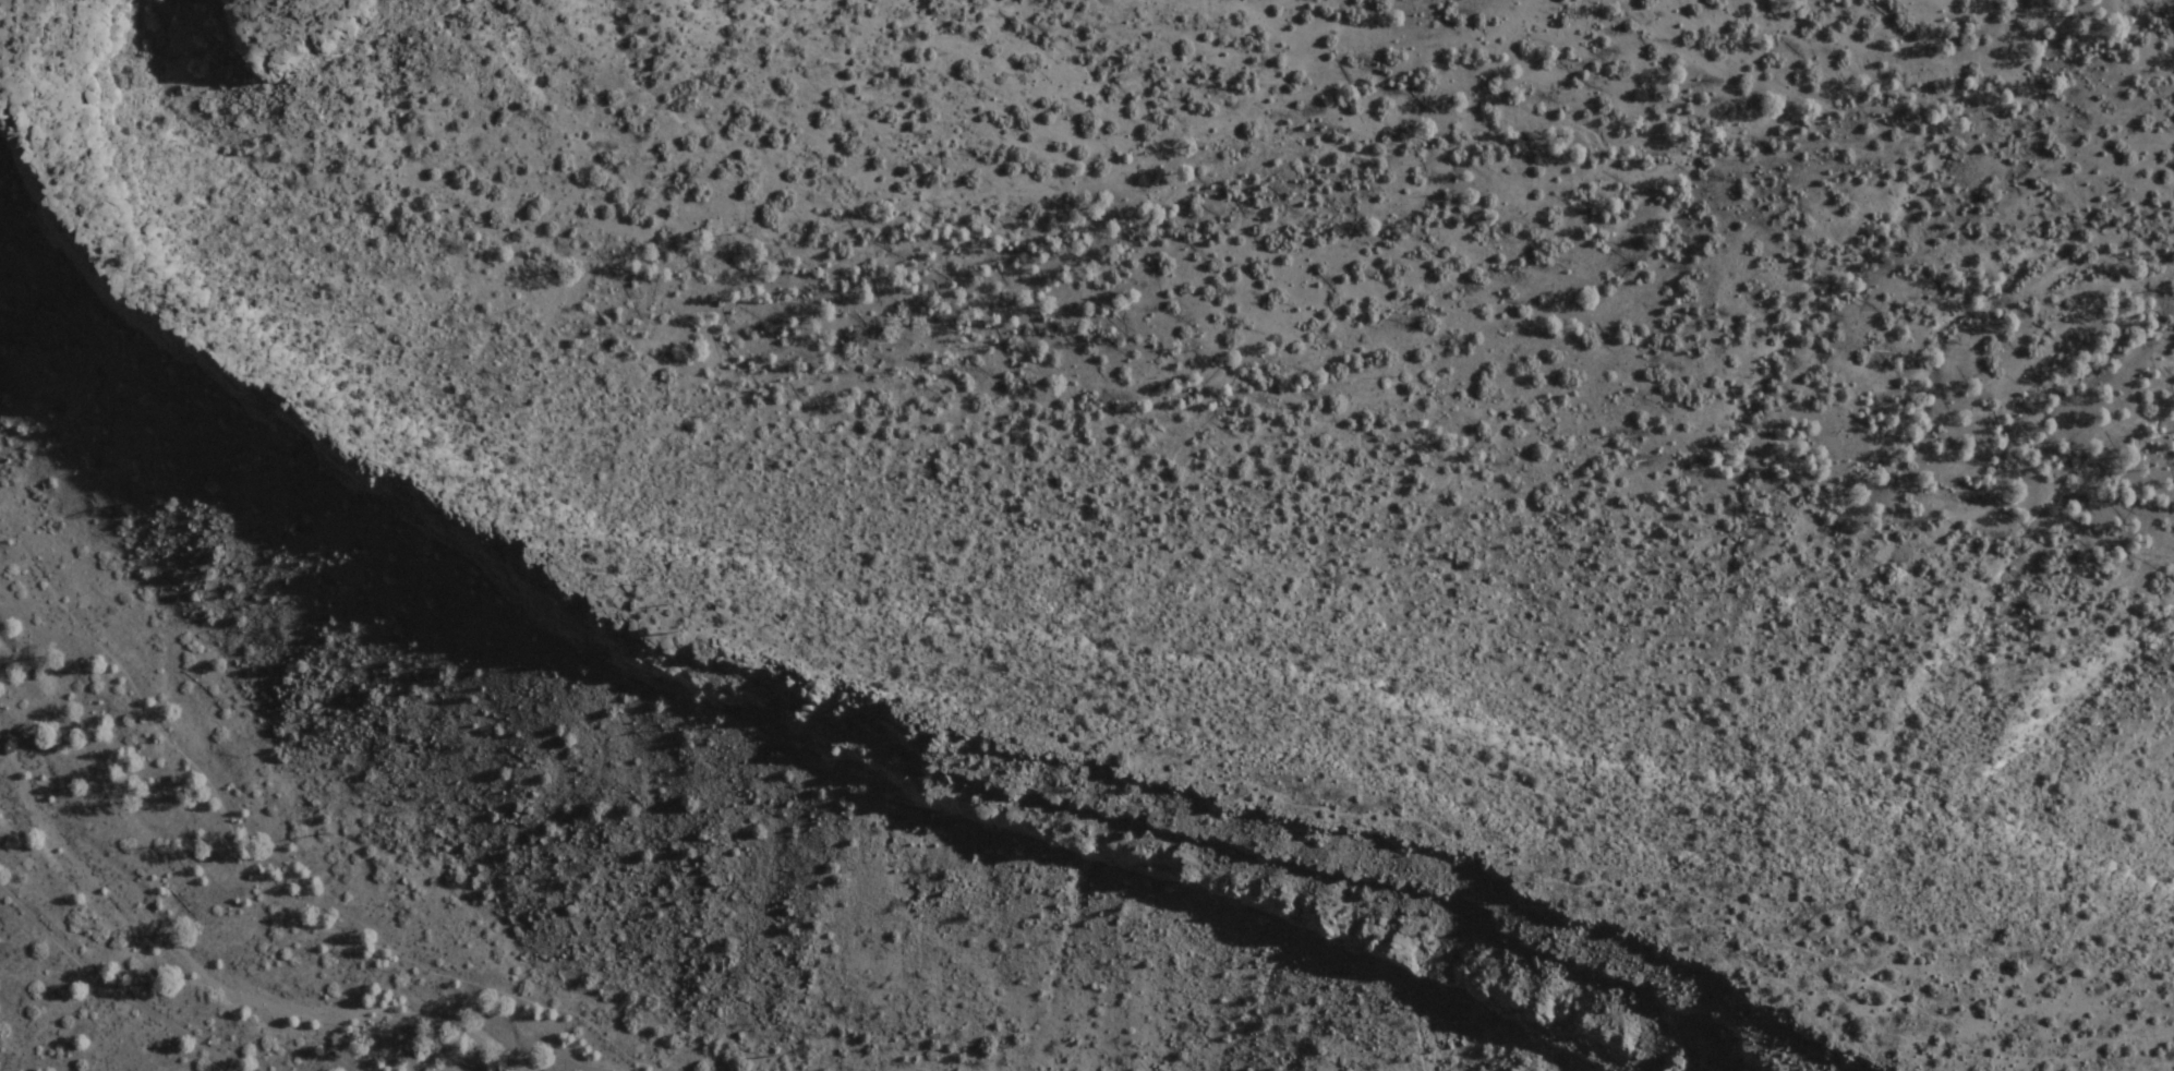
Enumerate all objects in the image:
road: (973, 725)
road: (255, 883)
road: (113, 987)

